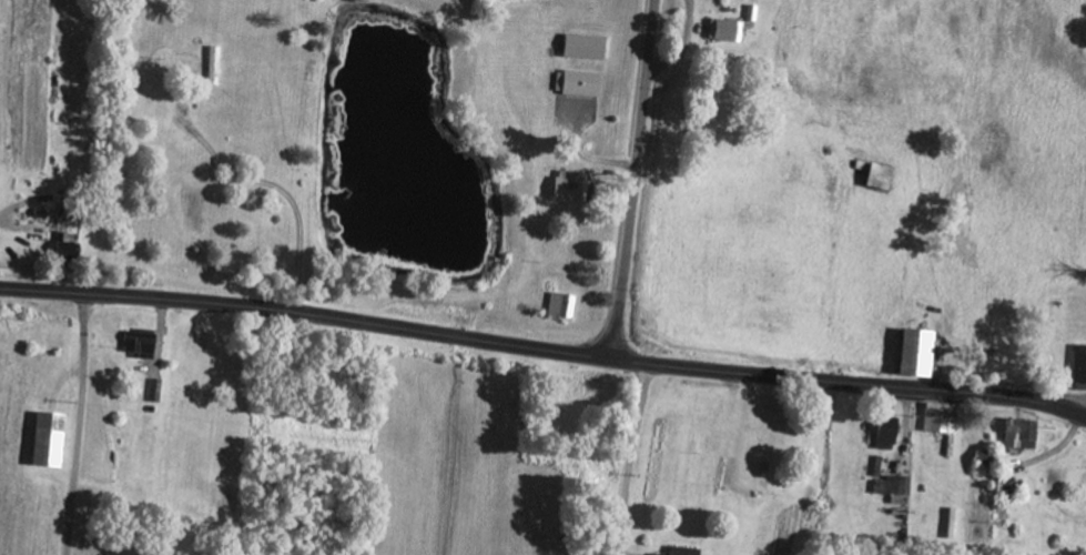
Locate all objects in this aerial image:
building: (588, 46)
building: (580, 82)
building: (885, 175)
road: (636, 180)
building: (572, 186)
road: (265, 188)
building: (69, 243)
building: (564, 305)
building: (142, 343)
road: (544, 349)
building: (924, 353)
building: (1077, 363)
road: (1072, 406)
building: (944, 417)
road: (72, 424)
building: (891, 433)
building: (52, 440)
building: (986, 457)
road: (629, 458)
building: (896, 485)
building: (684, 551)

